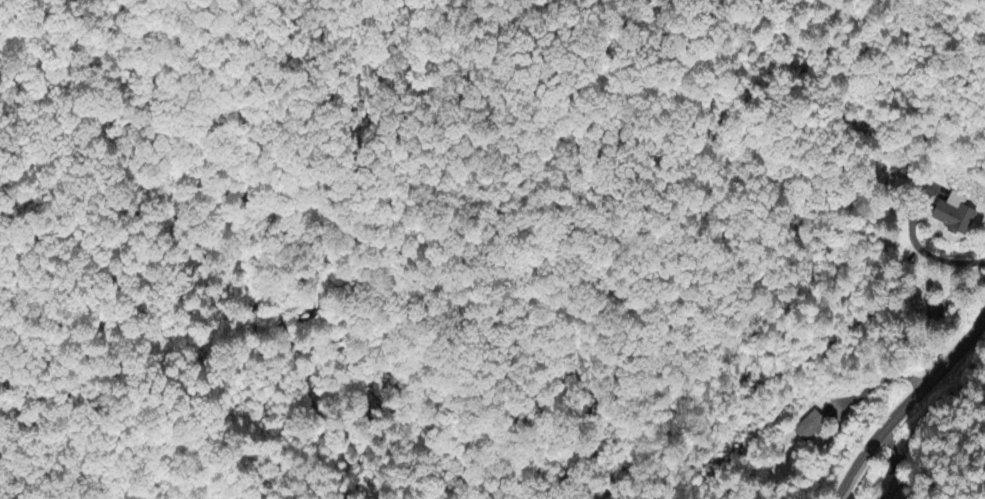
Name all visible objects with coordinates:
building: (952, 216)
road: (906, 405)
building: (809, 427)

